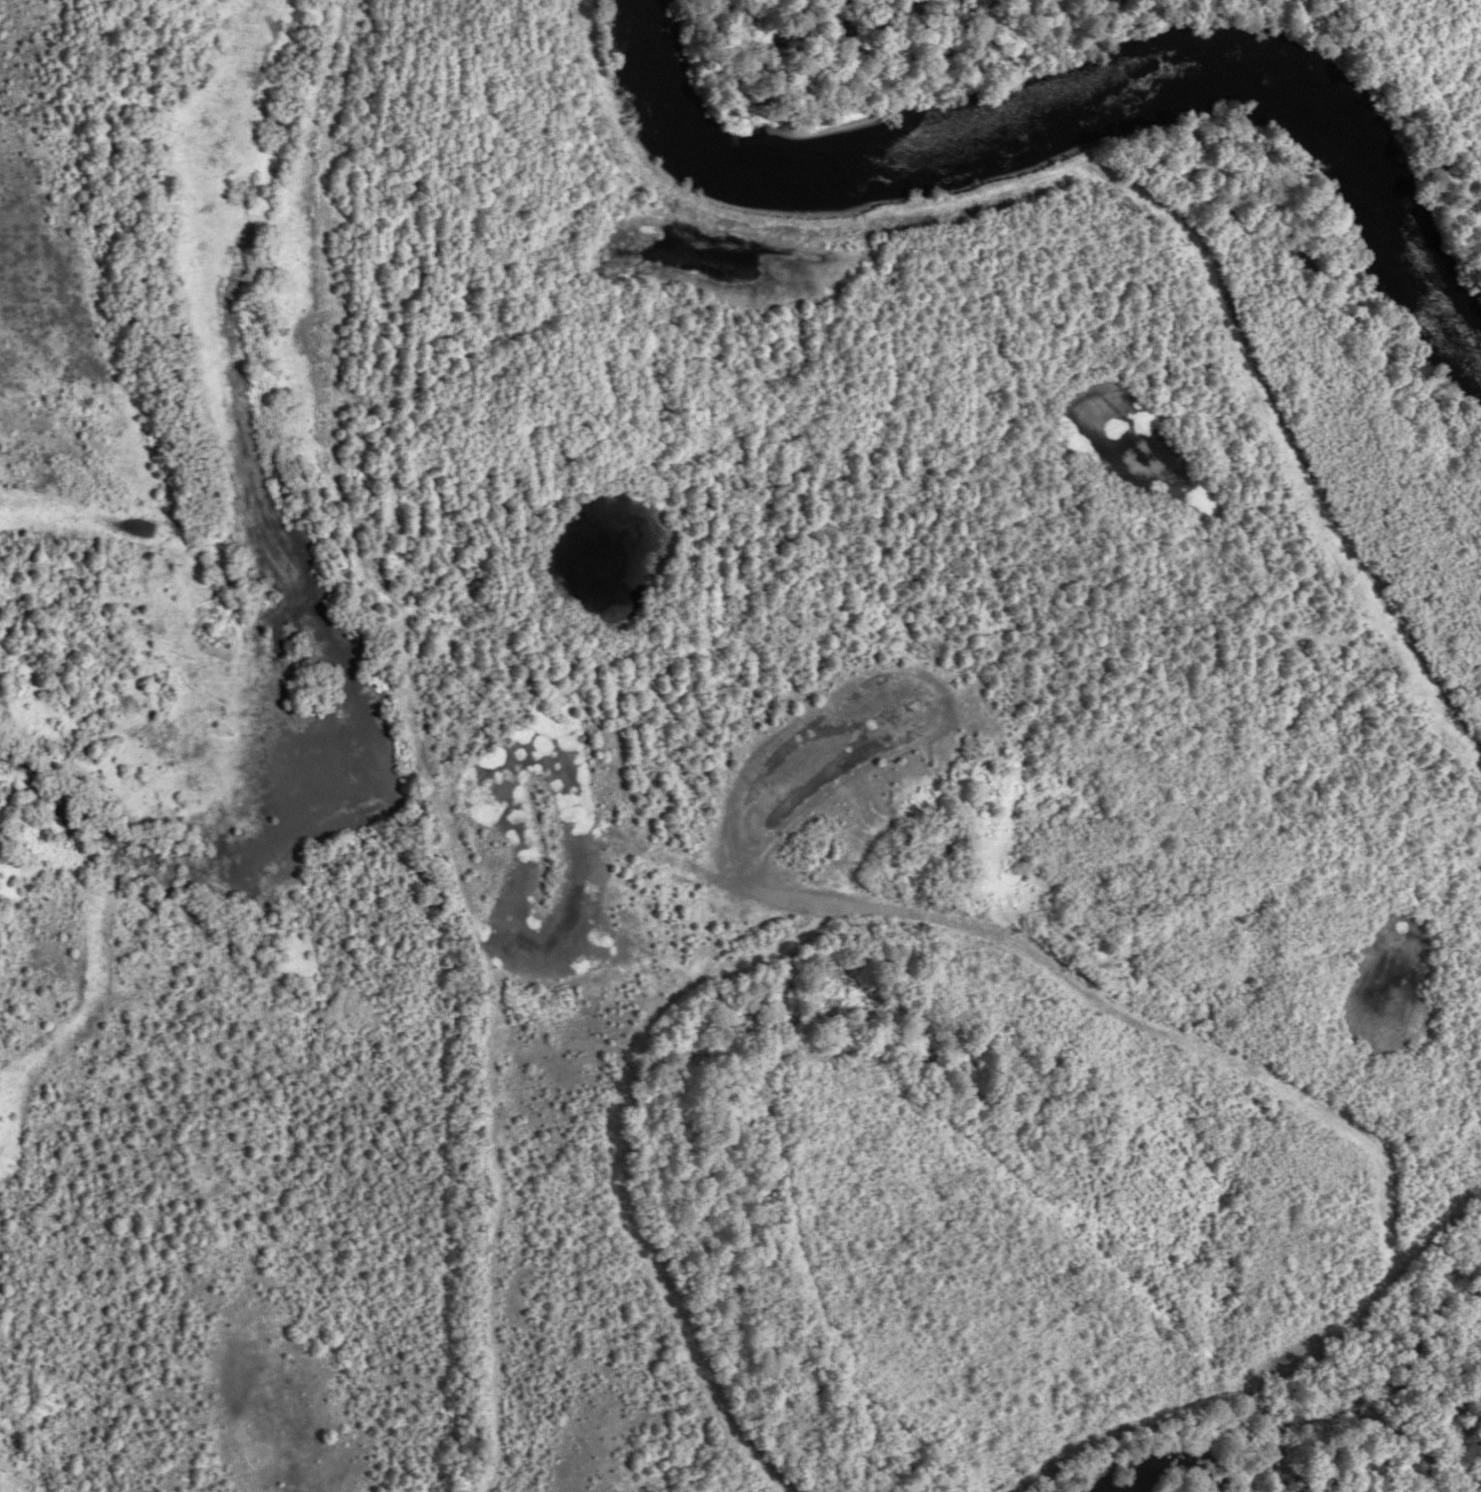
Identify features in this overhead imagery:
river: (1079, 99)

